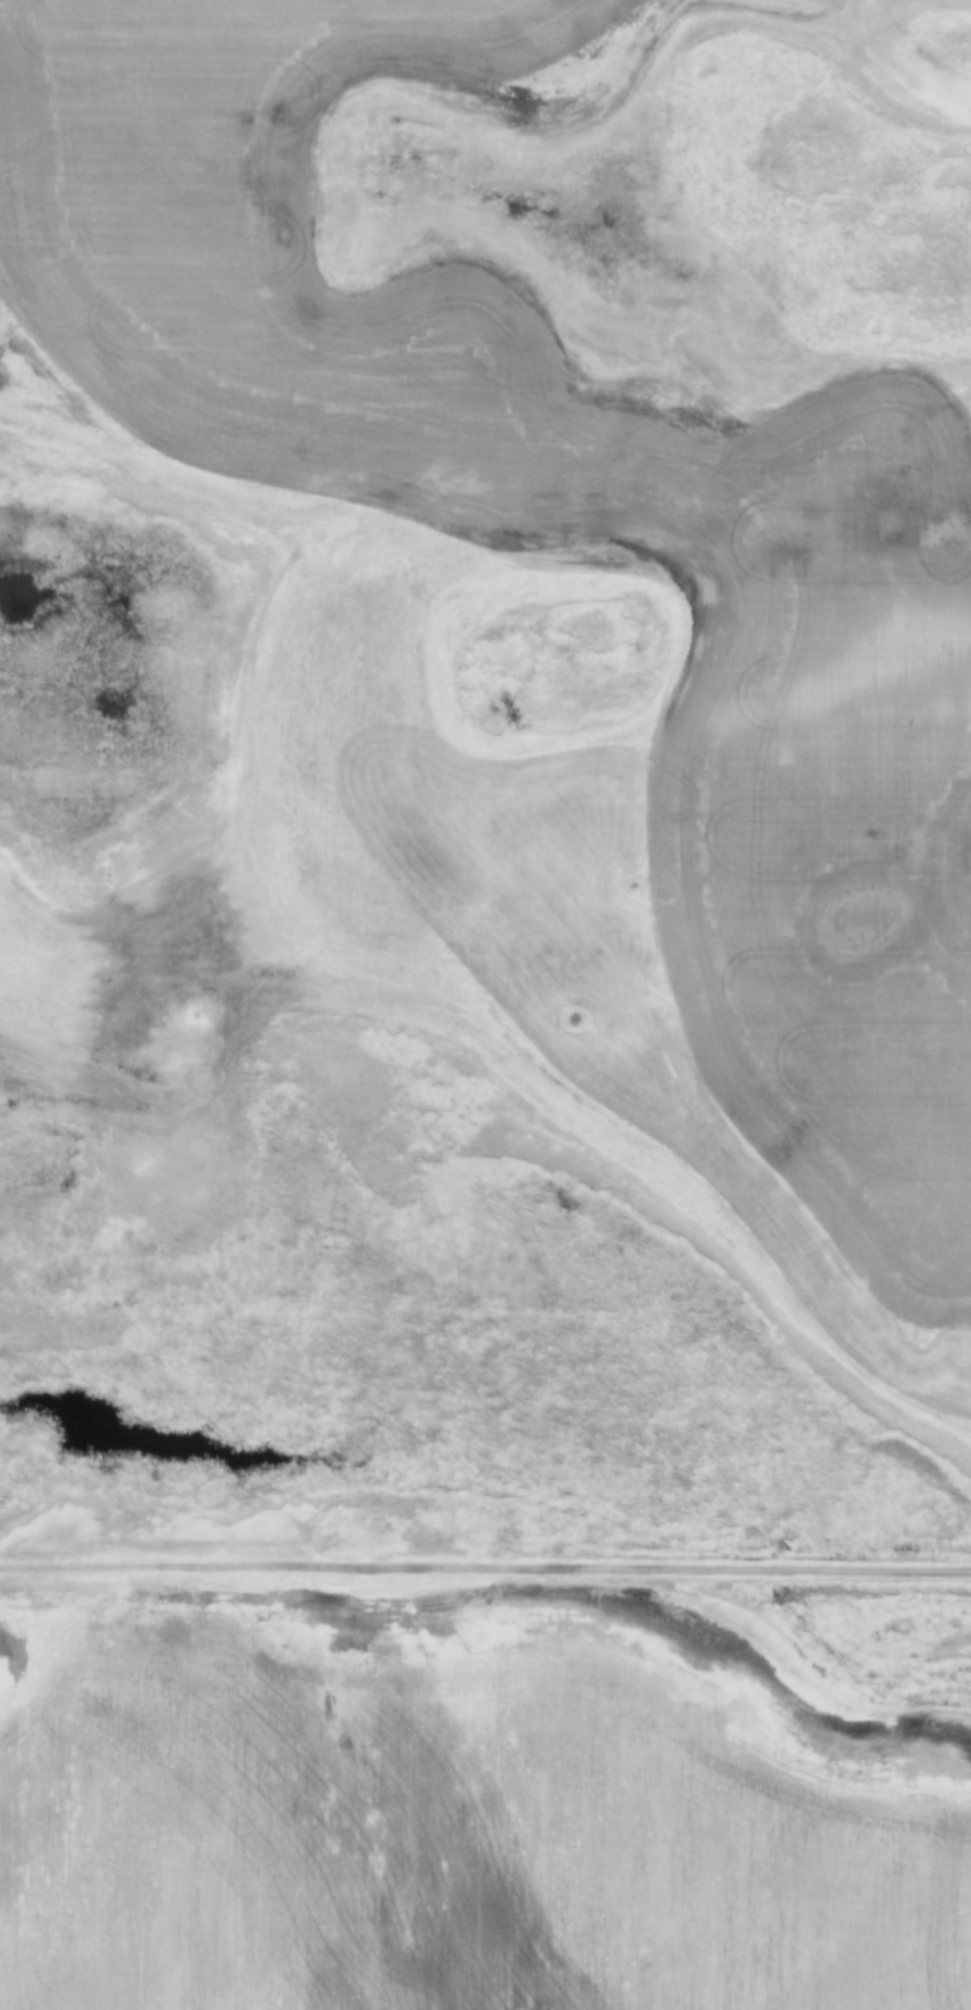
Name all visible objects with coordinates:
road: (485, 1566)

